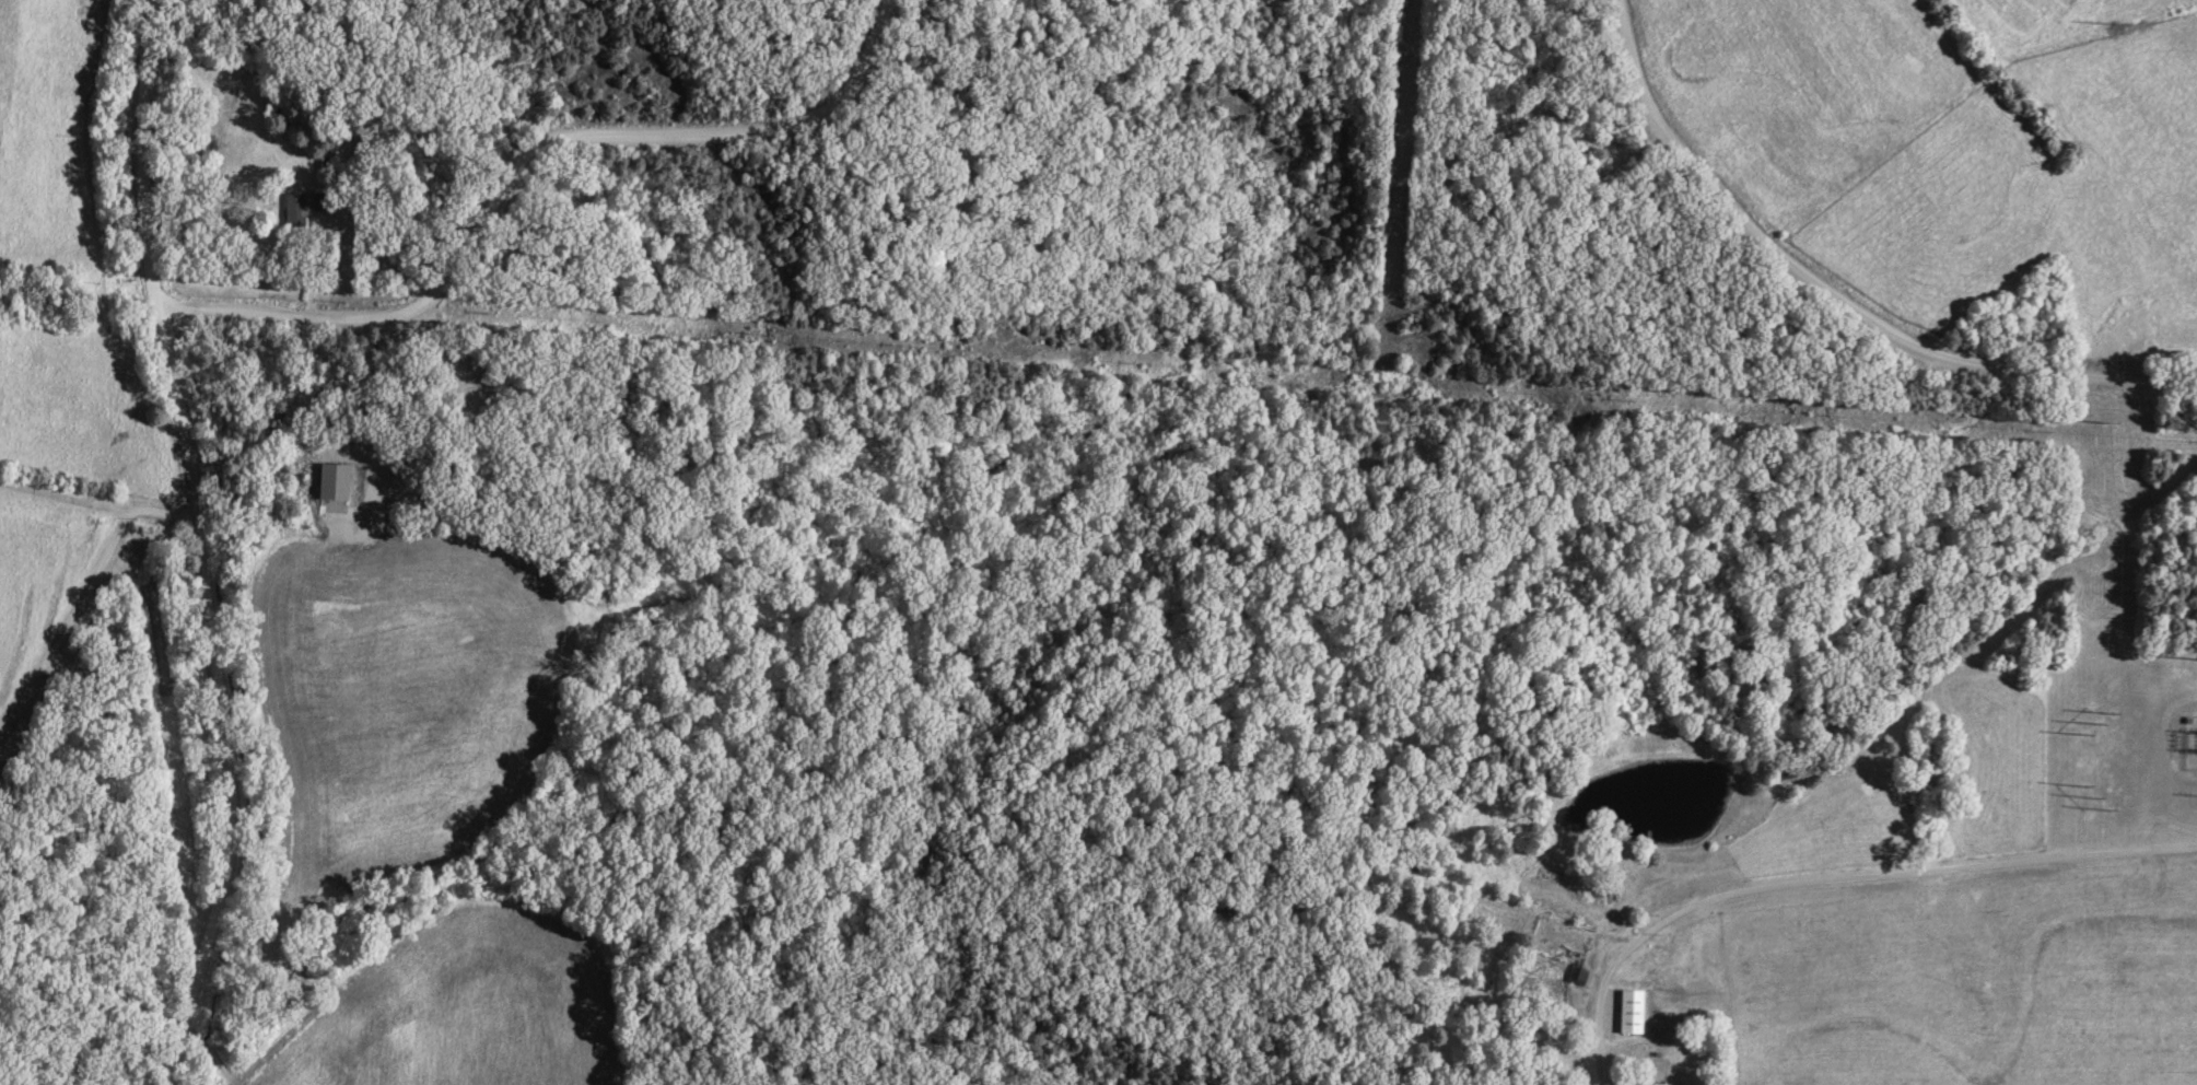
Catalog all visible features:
power tower: (2116, 25)
road: (524, 157)
building: (303, 208)
road: (1834, 299)
power tower: (2106, 421)
building: (332, 483)
road: (102, 513)
road: (208, 542)
road: (71, 637)
power tower: (2099, 723)
power substation: (2189, 742)
power tower: (2095, 797)
road: (1835, 879)
building: (1577, 977)
building: (1631, 1013)

